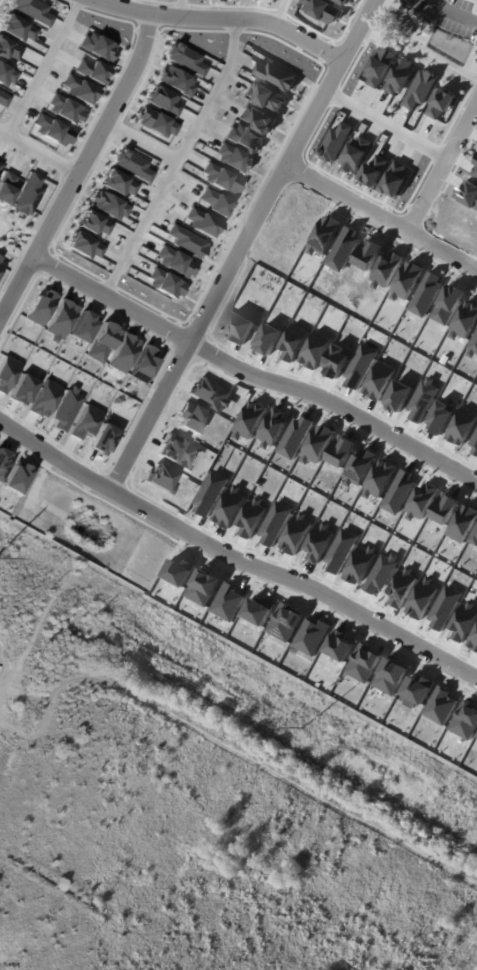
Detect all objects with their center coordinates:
building: (342, 1)
road: (179, 8)
building: (322, 10)
building: (32, 11)
road: (280, 11)
road: (455, 11)
road: (221, 19)
building: (16, 28)
building: (97, 46)
building: (8, 48)
building: (184, 58)
building: (379, 66)
road: (41, 67)
building: (90, 70)
building: (6, 74)
building: (275, 75)
building: (399, 76)
building: (174, 80)
building: (77, 89)
building: (419, 89)
building: (264, 96)
building: (3, 99)
building: (161, 100)
building: (440, 103)
building: (63, 108)
building: (256, 118)
building: (154, 122)
road: (389, 123)
building: (51, 129)
building: (242, 138)
road: (141, 141)
building: (335, 141)
road: (38, 152)
building: (355, 154)
building: (231, 158)
road: (176, 159)
building: (130, 164)
building: (475, 166)
building: (374, 169)
road: (79, 171)
road: (443, 172)
building: (219, 178)
building: (394, 179)
building: (116, 182)
building: (5, 187)
building: (468, 193)
building: (27, 194)
building: (213, 202)
building: (108, 205)
road: (382, 216)
building: (200, 221)
building: (463, 221)
building: (92, 223)
building: (324, 235)
building: (185, 241)
road: (241, 244)
building: (83, 245)
building: (343, 249)
building: (368, 254)
building: (0, 259)
building: (174, 261)
building: (0, 264)
building: (386, 269)
building: (407, 280)
building: (163, 282)
building: (426, 294)
building: (448, 304)
building: (39, 307)
building: (59, 319)
building: (465, 320)
building: (82, 326)
building: (239, 327)
building: (267, 339)
building: (100, 341)
building: (293, 342)
building: (473, 347)
building: (316, 349)
building: (122, 351)
building: (337, 360)
building: (141, 363)
building: (361, 365)
building: (6, 371)
road: (253, 374)
building: (379, 380)
building: (20, 389)
building: (210, 394)
building: (398, 395)
building: (42, 398)
building: (423, 400)
building: (64, 408)
building: (190, 417)
building: (440, 417)
building: (250, 420)
building: (83, 421)
building: (462, 425)
building: (272, 428)
building: (295, 436)
building: (101, 438)
building: (474, 442)
building: (317, 444)
building: (341, 450)
building: (176, 451)
building: (2, 461)
building: (359, 467)
building: (158, 477)
building: (16, 478)
building: (380, 478)
building: (211, 492)
building: (399, 492)
building: (422, 501)
building: (230, 506)
building: (445, 508)
building: (251, 517)
building: (275, 523)
building: (463, 523)
building: (296, 533)
building: (475, 538)
building: (319, 542)
building: (341, 549)
road: (234, 561)
building: (360, 563)
building: (178, 571)
building: (382, 573)
building: (203, 587)
building: (402, 587)
building: (422, 598)
building: (228, 602)
building: (444, 607)
building: (258, 610)
building: (464, 621)
building: (285, 622)
building: (311, 635)
building: (474, 641)
building: (339, 645)
building: (363, 663)
building: (390, 676)
building: (417, 690)
building: (440, 705)
building: (465, 720)
power tower: (305, 727)

